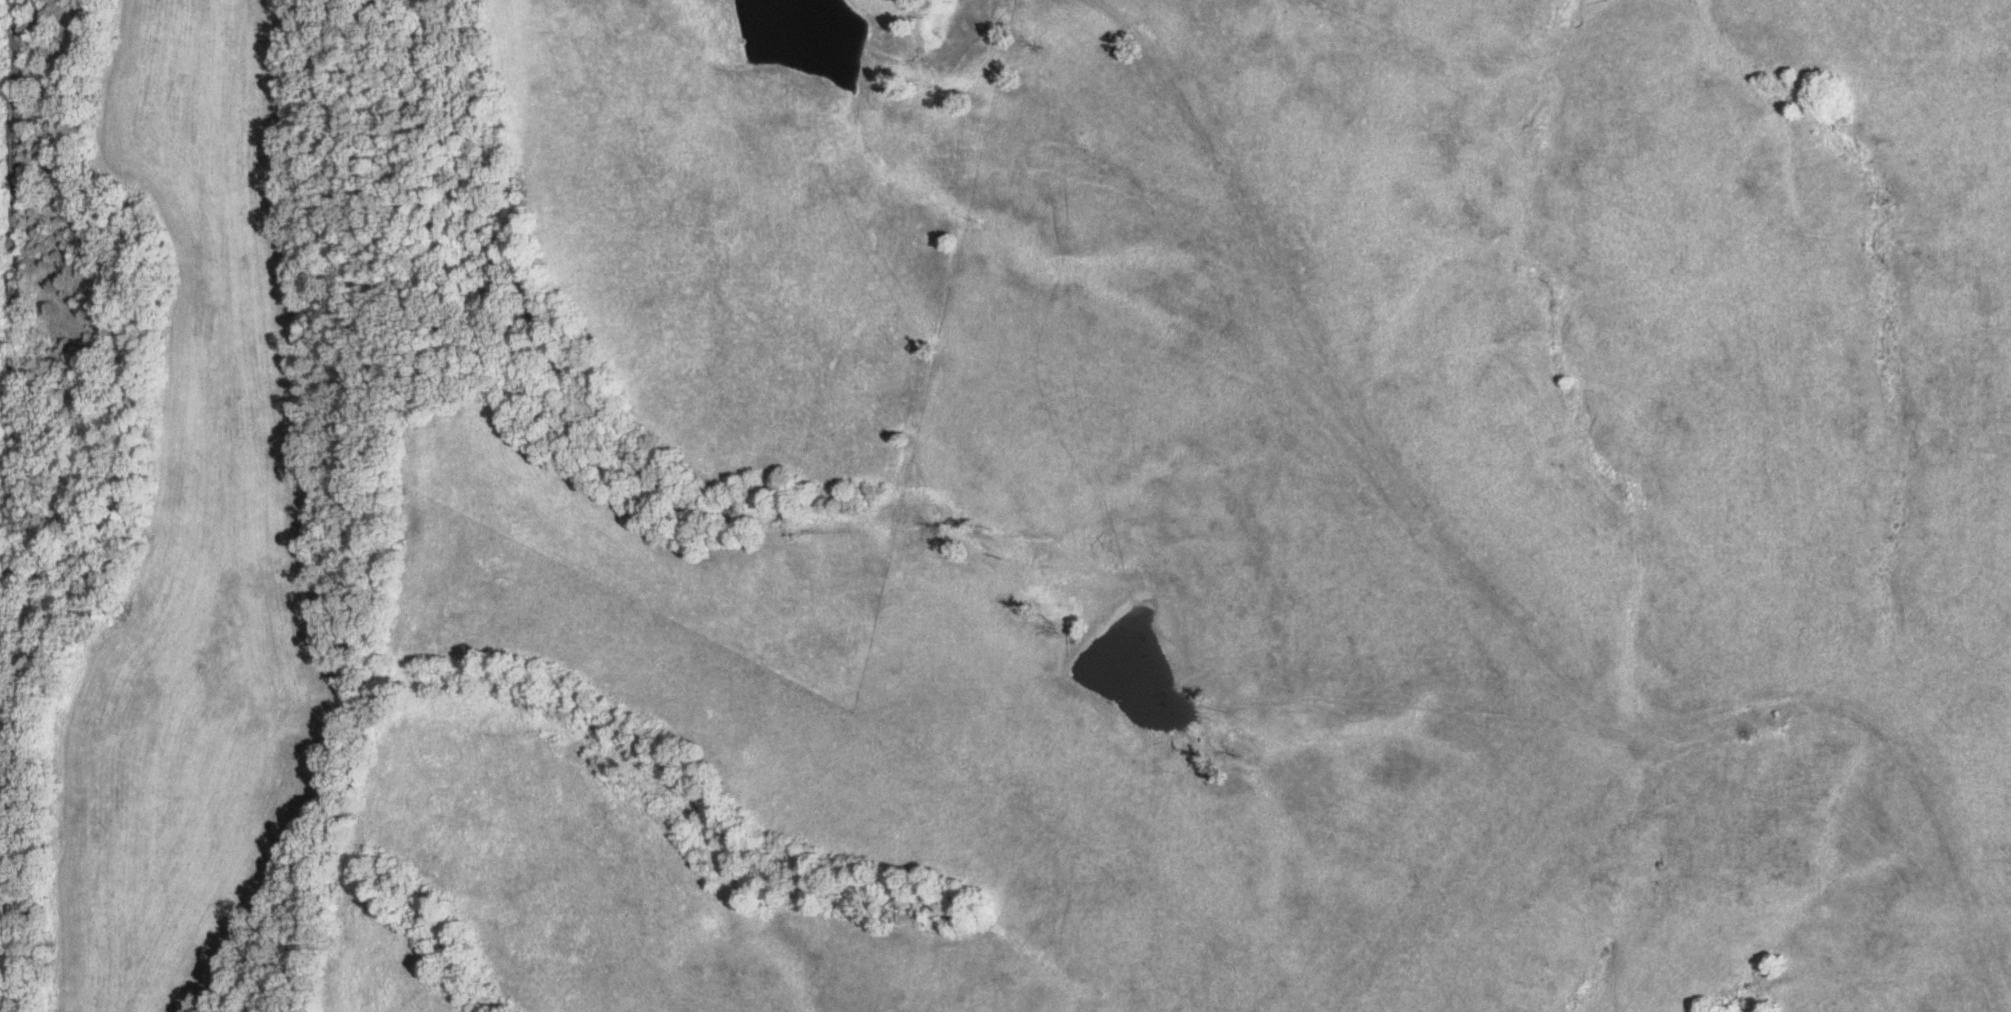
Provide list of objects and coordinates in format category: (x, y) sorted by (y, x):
railway: (9, 303)
road: (88, 387)

